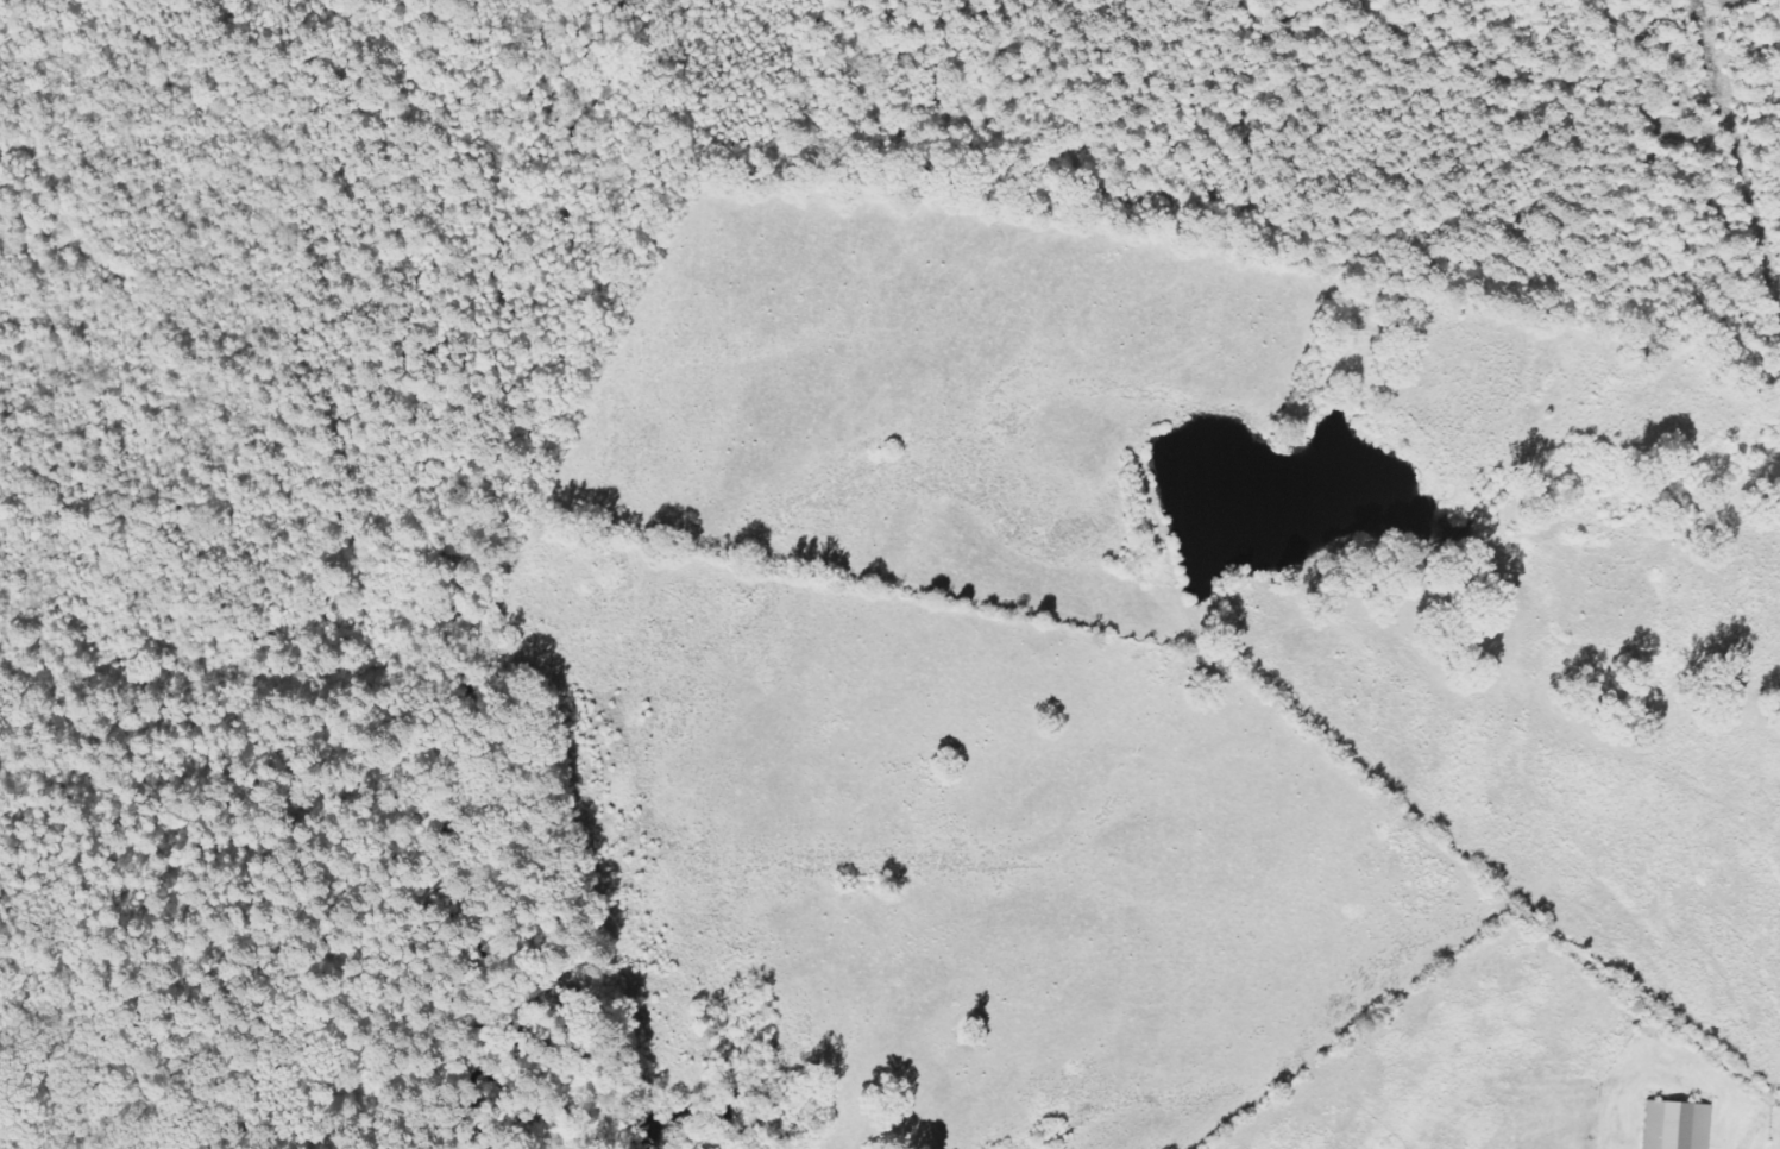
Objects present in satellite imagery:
building: (1682, 1125)

